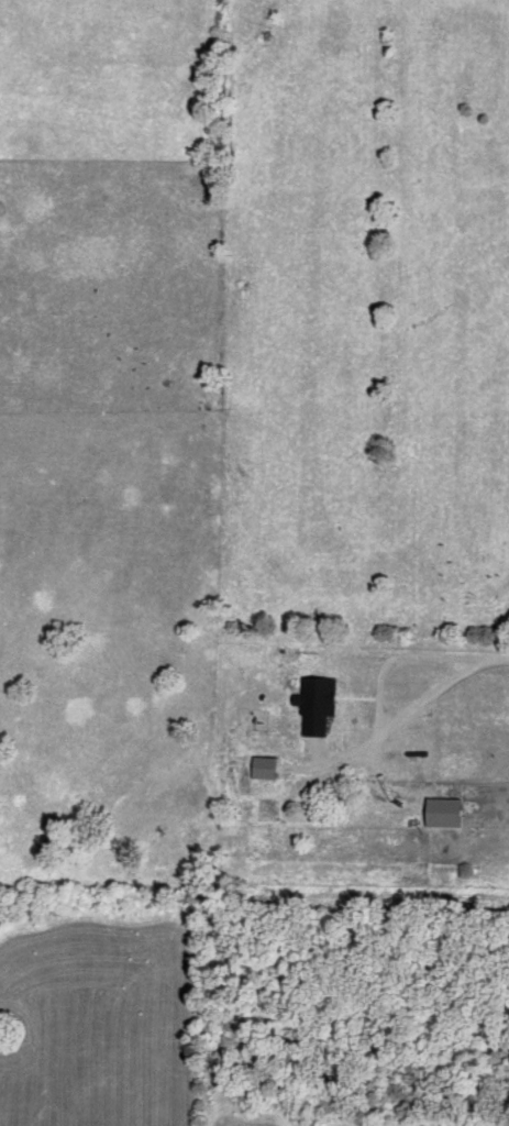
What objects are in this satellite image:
road: (506, 662)
road: (380, 709)

